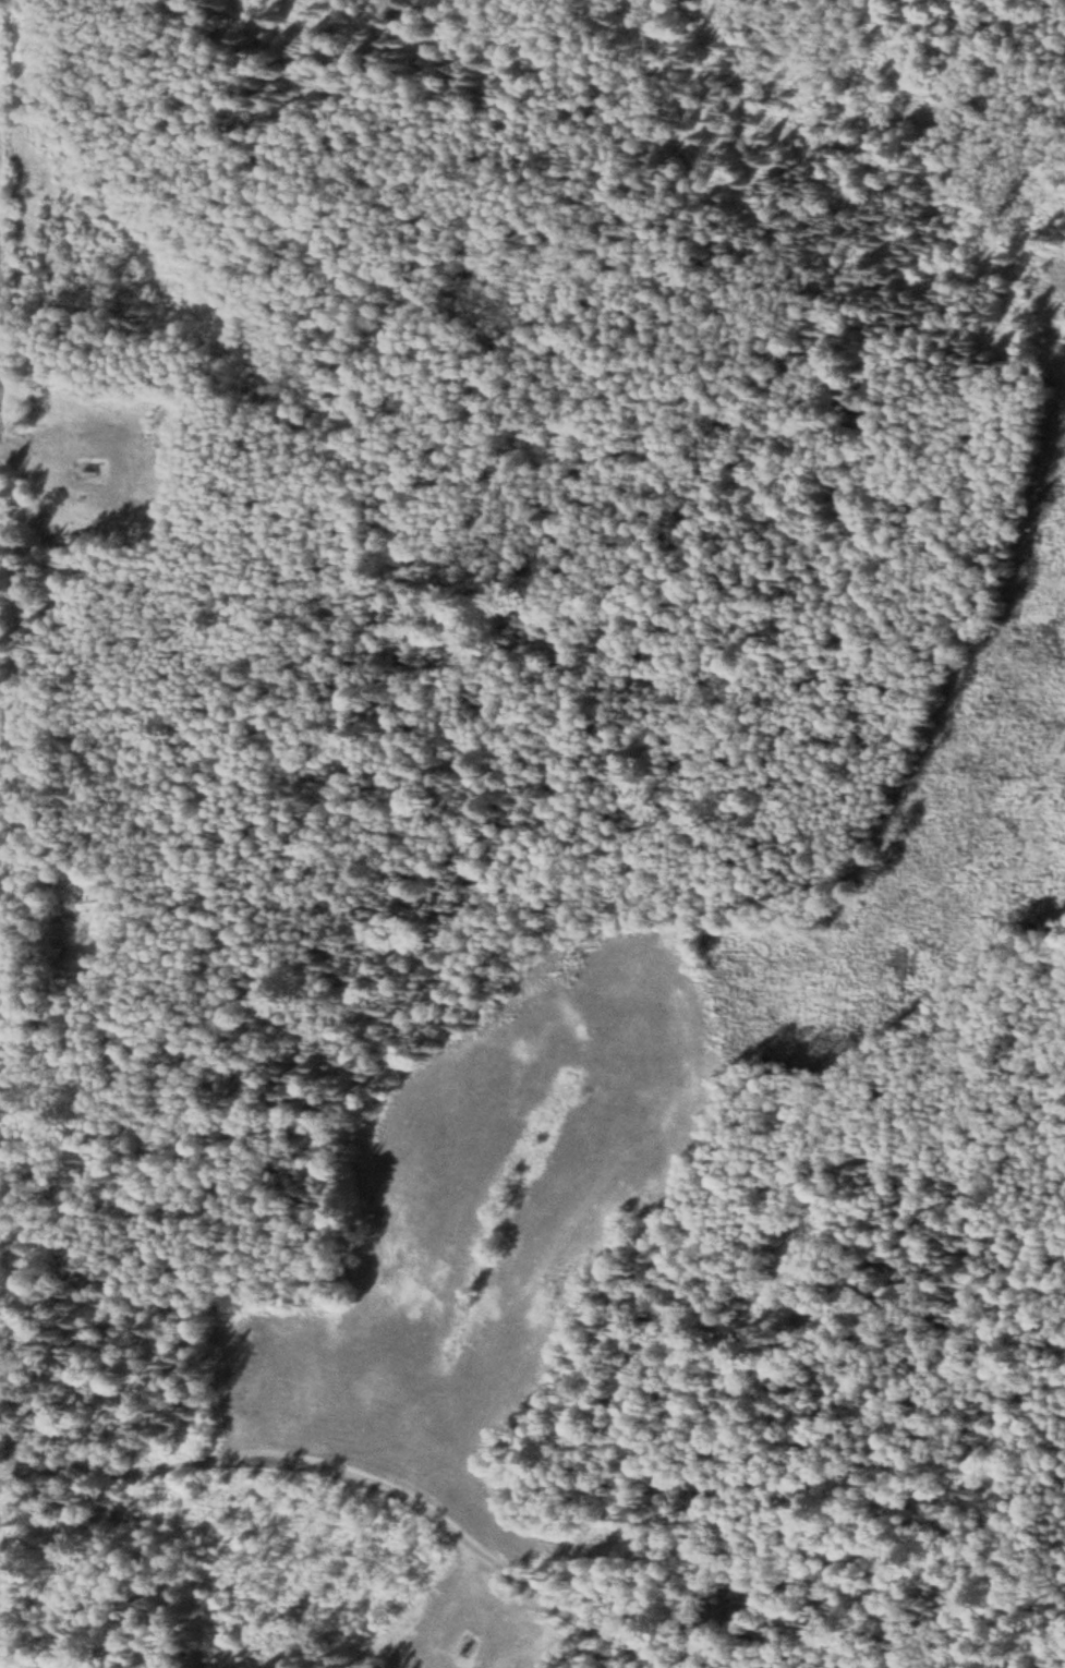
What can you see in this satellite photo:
petroleum well: (89, 470)
petroleum well: (462, 1649)

